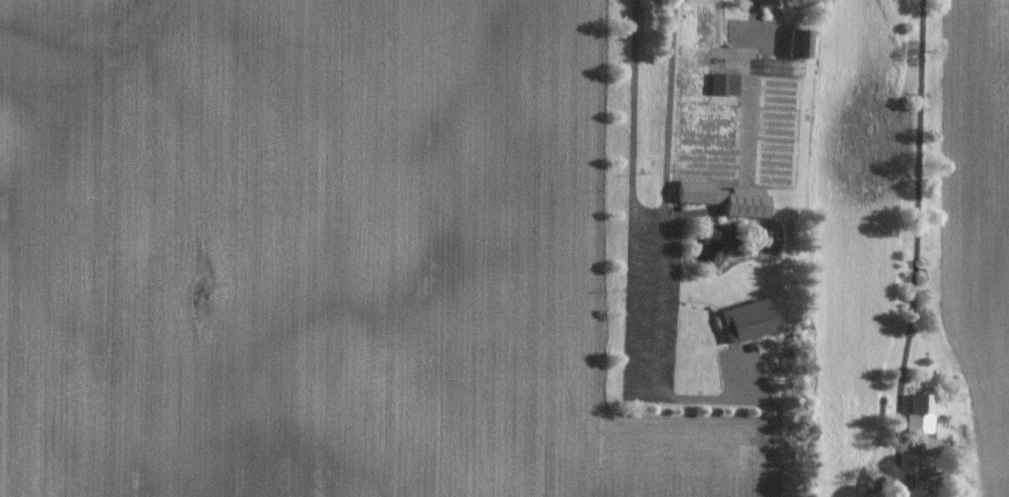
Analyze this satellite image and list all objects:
road: (775, 21)
building: (801, 44)
building: (723, 84)
road: (668, 119)
building: (724, 198)
road: (917, 221)
road: (633, 247)
building: (746, 321)

